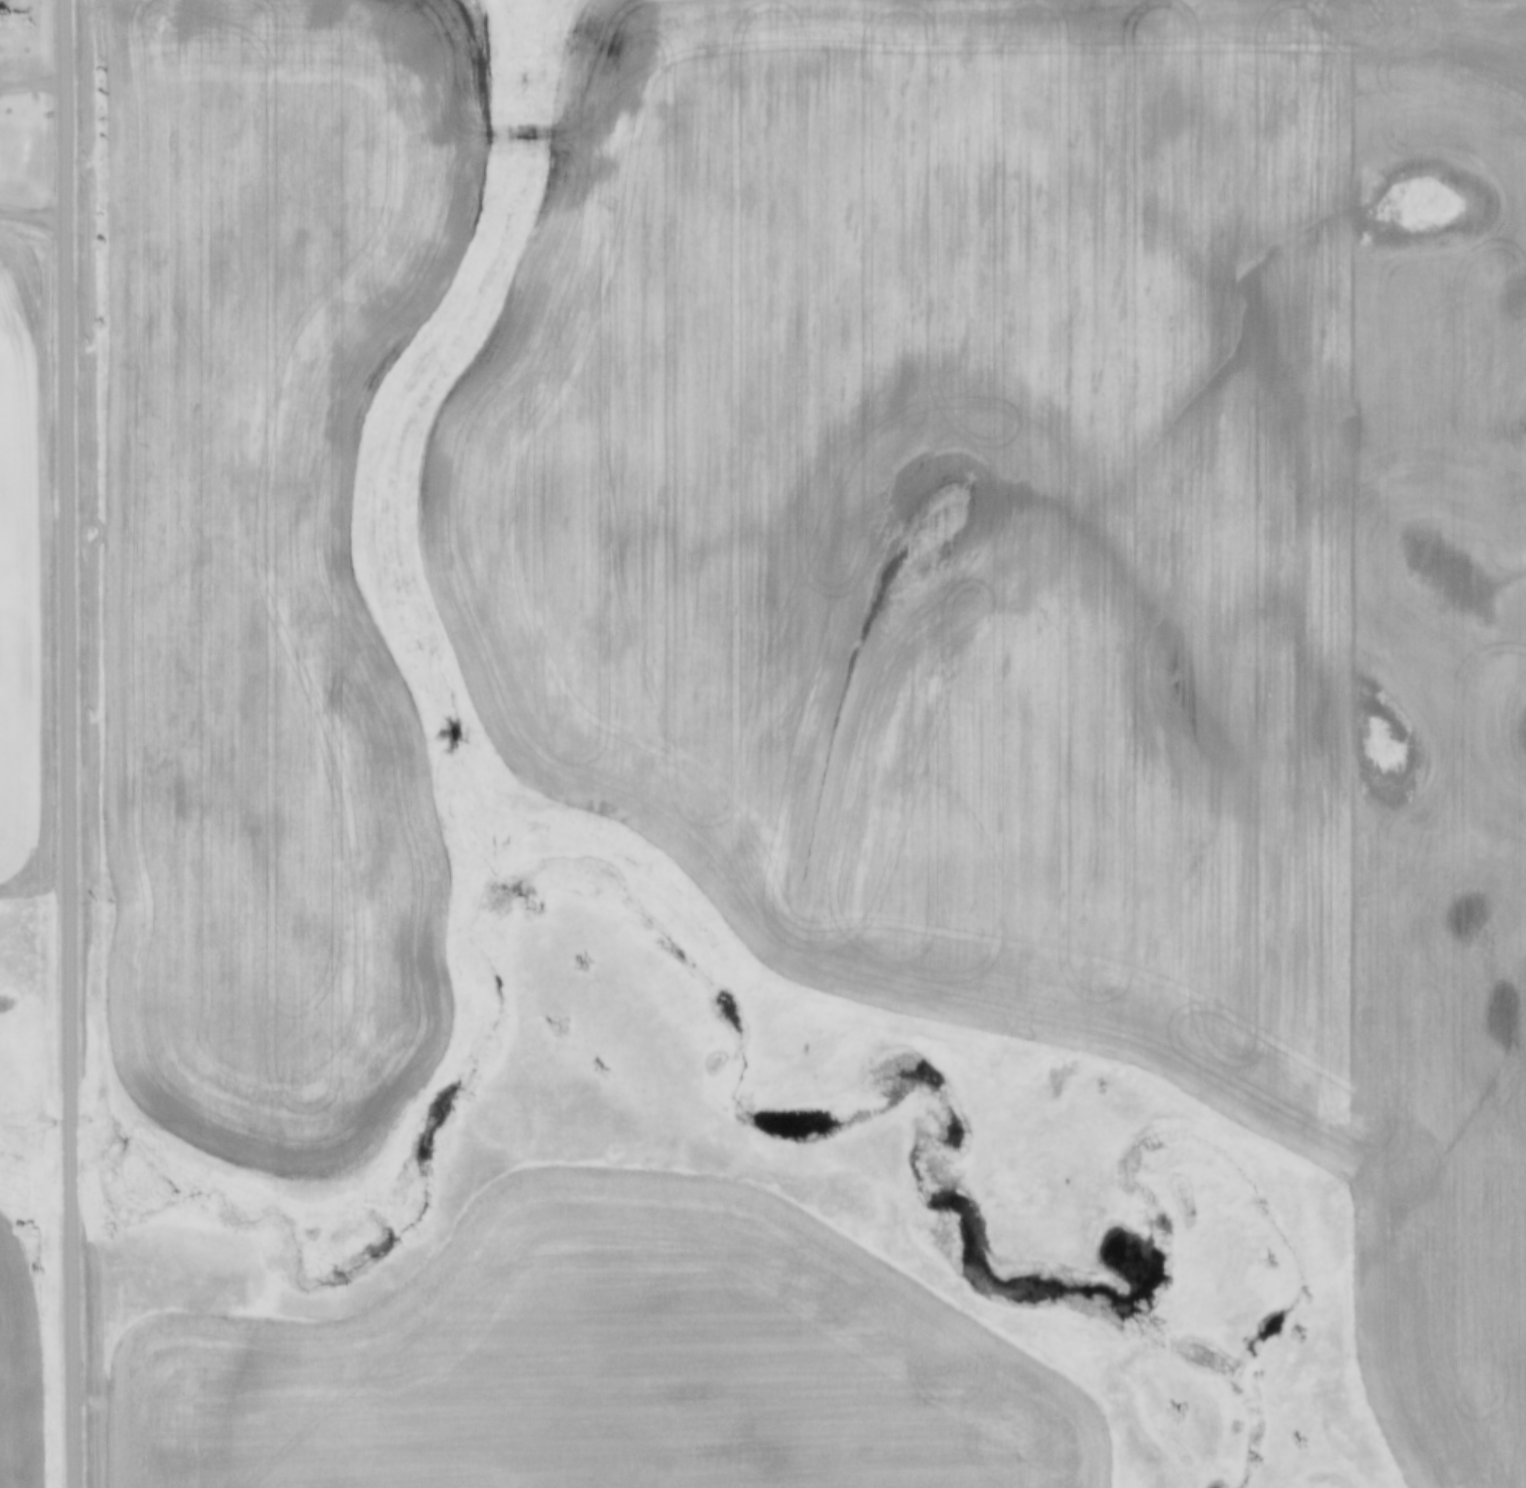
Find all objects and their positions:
road: (0, 0)
road: (32, 214)
road: (67, 744)

